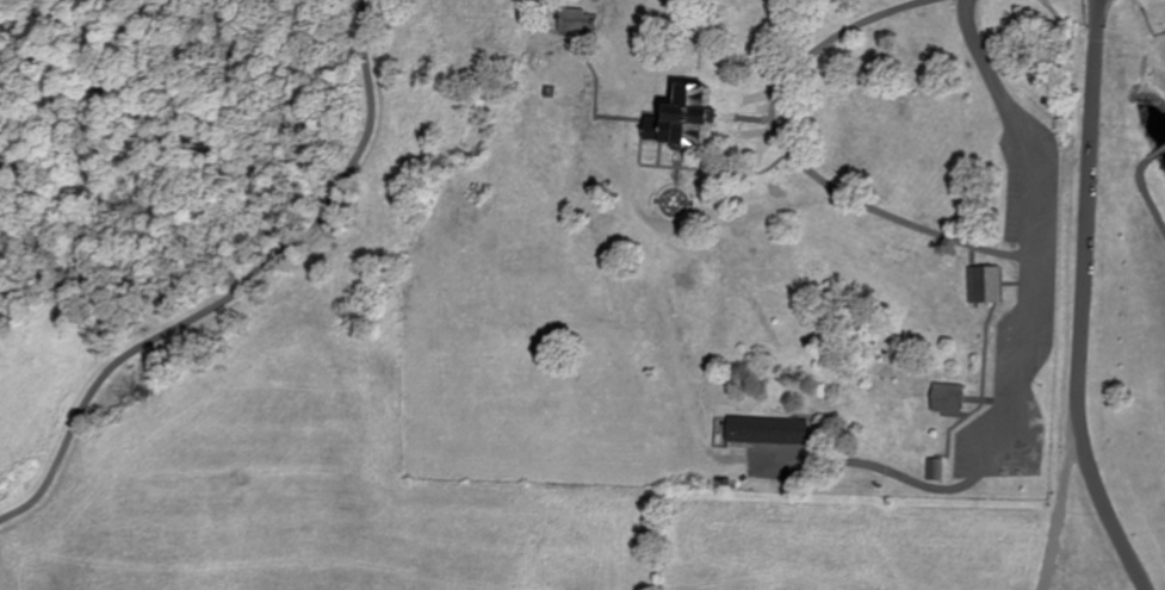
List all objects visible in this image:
building: (572, 19)
building: (591, 24)
building: (686, 117)
road: (1157, 151)
road: (804, 161)
road: (1146, 192)
road: (1085, 213)
road: (1043, 217)
park: (751, 251)
building: (984, 282)
road: (237, 290)
park: (197, 374)
building: (949, 398)
building: (769, 430)
building: (936, 468)
road: (906, 477)
road: (1064, 510)
road: (1109, 510)

